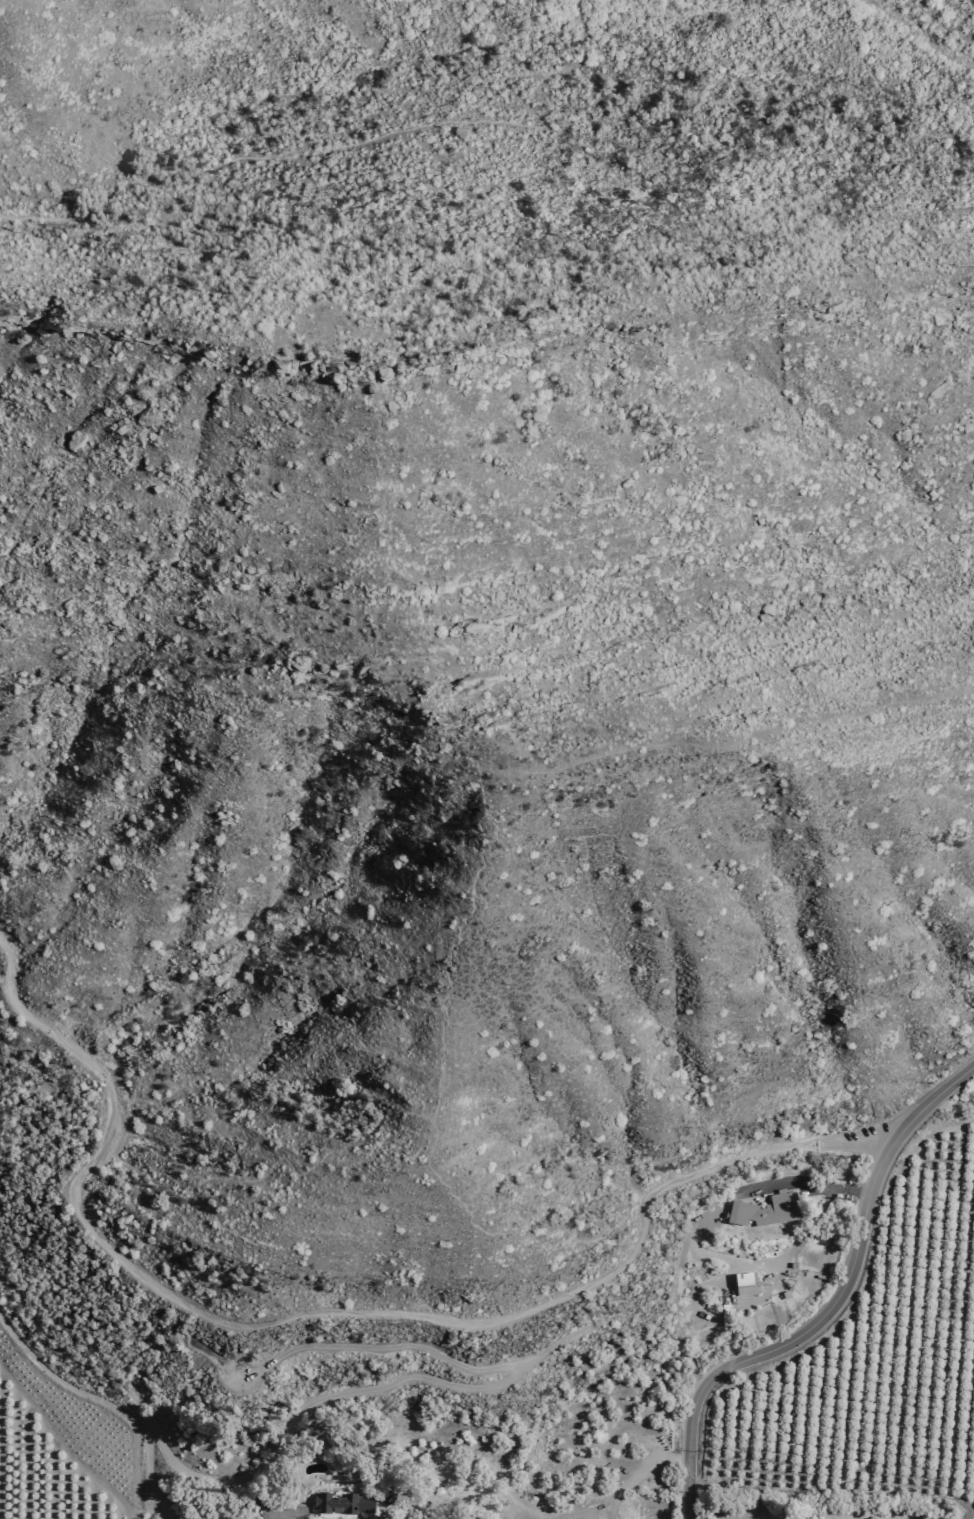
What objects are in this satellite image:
road: (582, 37)
road: (538, 122)
road: (952, 1103)
parking lot: (853, 1139)
road: (810, 1182)
building: (764, 1210)
building: (744, 1284)
road: (832, 1308)
road: (334, 1315)
road: (405, 1345)
building: (204, 1352)
storage tank: (204, 1352)
building: (214, 1360)
storage tank: (214, 1360)
road: (292, 1446)
road: (833, 1490)
building: (387, 1498)
building: (339, 1504)
road: (289, 1515)
road: (381, 1515)

